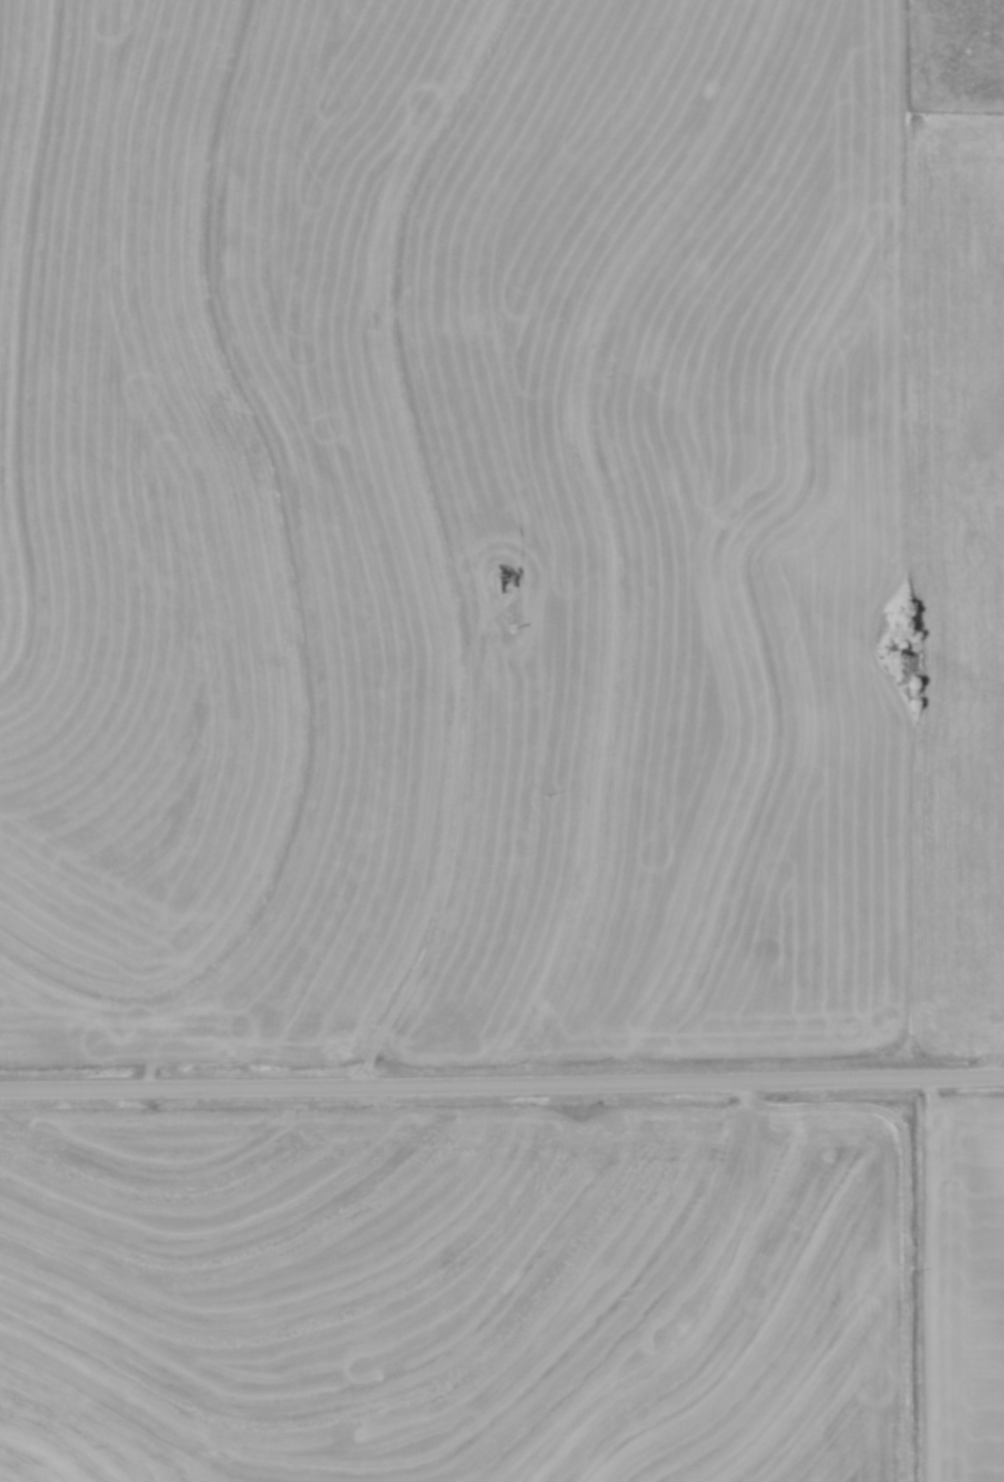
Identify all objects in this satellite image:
road: (502, 1083)
road: (943, 1277)

